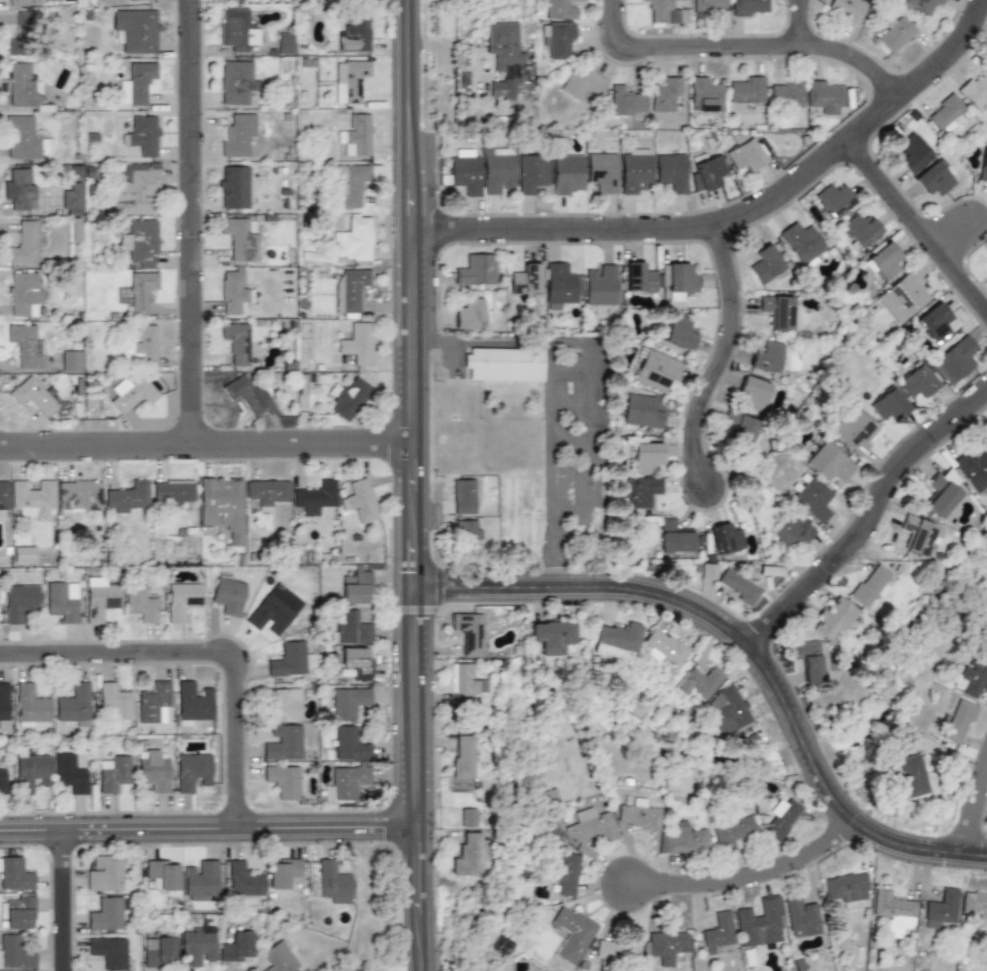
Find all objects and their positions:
building: (130, 0)
building: (19, 2)
building: (709, 5)
building: (923, 6)
building: (559, 8)
building: (749, 8)
building: (848, 10)
building: (667, 12)
road: (809, 27)
building: (137, 30)
building: (236, 30)
building: (895, 33)
building: (354, 34)
building: (21, 35)
building: (559, 39)
building: (285, 42)
building: (503, 43)
road: (745, 54)
building: (351, 78)
building: (581, 81)
building: (237, 83)
building: (138, 84)
building: (22, 86)
building: (502, 86)
building: (746, 89)
building: (974, 91)
building: (787, 93)
building: (666, 94)
building: (705, 95)
building: (827, 95)
building: (624, 102)
building: (946, 110)
building: (237, 134)
building: (356, 134)
building: (143, 135)
building: (24, 139)
building: (912, 152)
building: (746, 154)
building: (983, 166)
building: (499, 170)
building: (602, 171)
building: (636, 171)
building: (533, 172)
building: (671, 172)
building: (707, 172)
building: (567, 173)
building: (466, 174)
building: (934, 178)
building: (233, 186)
building: (352, 186)
building: (19, 188)
building: (134, 188)
building: (70, 199)
building: (833, 199)
road: (746, 224)
road: (198, 225)
building: (74, 228)
building: (858, 230)
road: (920, 230)
building: (239, 239)
building: (353, 239)
building: (143, 243)
building: (802, 243)
road: (960, 243)
building: (22, 244)
building: (883, 261)
building: (765, 264)
building: (475, 268)
building: (639, 277)
building: (526, 279)
building: (679, 281)
building: (704, 281)
building: (600, 284)
building: (558, 285)
building: (349, 288)
building: (232, 290)
building: (137, 291)
building: (23, 294)
building: (904, 296)
building: (779, 311)
building: (470, 314)
building: (934, 321)
building: (679, 332)
building: (236, 342)
building: (357, 342)
building: (144, 344)
building: (25, 345)
building: (767, 357)
building: (955, 359)
building: (71, 360)
building: (503, 364)
road: (728, 366)
building: (656, 369)
building: (917, 380)
building: (753, 392)
building: (131, 393)
building: (32, 396)
building: (248, 396)
building: (348, 397)
road: (566, 399)
building: (888, 404)
building: (640, 411)
building: (739, 428)
building: (986, 430)
building: (853, 431)
building: (986, 443)
road: (209, 451)
building: (645, 455)
building: (828, 462)
building: (973, 468)
road: (419, 485)
building: (639, 491)
building: (173, 492)
building: (941, 492)
building: (267, 493)
building: (463, 493)
building: (3, 495)
building: (79, 496)
building: (32, 497)
building: (127, 497)
building: (812, 497)
building: (314, 498)
building: (361, 500)
building: (222, 504)
building: (791, 531)
road: (873, 531)
building: (465, 534)
building: (673, 536)
building: (919, 536)
building: (725, 538)
building: (23, 554)
building: (708, 571)
building: (870, 583)
building: (738, 585)
building: (356, 586)
building: (228, 595)
building: (100, 597)
building: (20, 600)
building: (182, 600)
building: (63, 601)
building: (141, 604)
building: (270, 613)
building: (833, 619)
building: (984, 623)
building: (352, 628)
building: (468, 632)
building: (552, 636)
building: (616, 639)
building: (985, 640)
building: (664, 646)
road: (747, 651)
building: (807, 659)
building: (290, 660)
road: (209, 661)
building: (357, 662)
building: (973, 674)
building: (699, 680)
building: (464, 682)
building: (114, 700)
building: (154, 703)
building: (191, 703)
building: (286, 703)
building: (347, 703)
building: (73, 704)
building: (3, 705)
building: (31, 706)
building: (728, 709)
building: (959, 721)
building: (283, 742)
building: (349, 743)
building: (462, 756)
building: (192, 770)
building: (31, 771)
building: (70, 772)
building: (154, 772)
building: (114, 773)
building: (3, 774)
building: (912, 775)
building: (283, 781)
building: (346, 783)
road: (970, 804)
building: (638, 814)
building: (471, 817)
building: (781, 819)
building: (591, 826)
building: (732, 831)
road: (209, 838)
building: (683, 840)
building: (468, 855)
building: (282, 872)
building: (566, 872)
building: (105, 873)
building: (162, 873)
building: (15, 874)
building: (200, 879)
building: (243, 880)
building: (332, 881)
road: (756, 886)
building: (847, 886)
road: (67, 905)
building: (975, 905)
building: (940, 907)
building: (892, 911)
building: (17, 912)
building: (105, 913)
building: (800, 917)
building: (760, 922)
building: (718, 929)
building: (573, 932)
building: (666, 943)
building: (235, 946)
building: (196, 947)
building: (618, 947)
building: (158, 951)
building: (15, 952)
building: (107, 952)
building: (277, 956)

